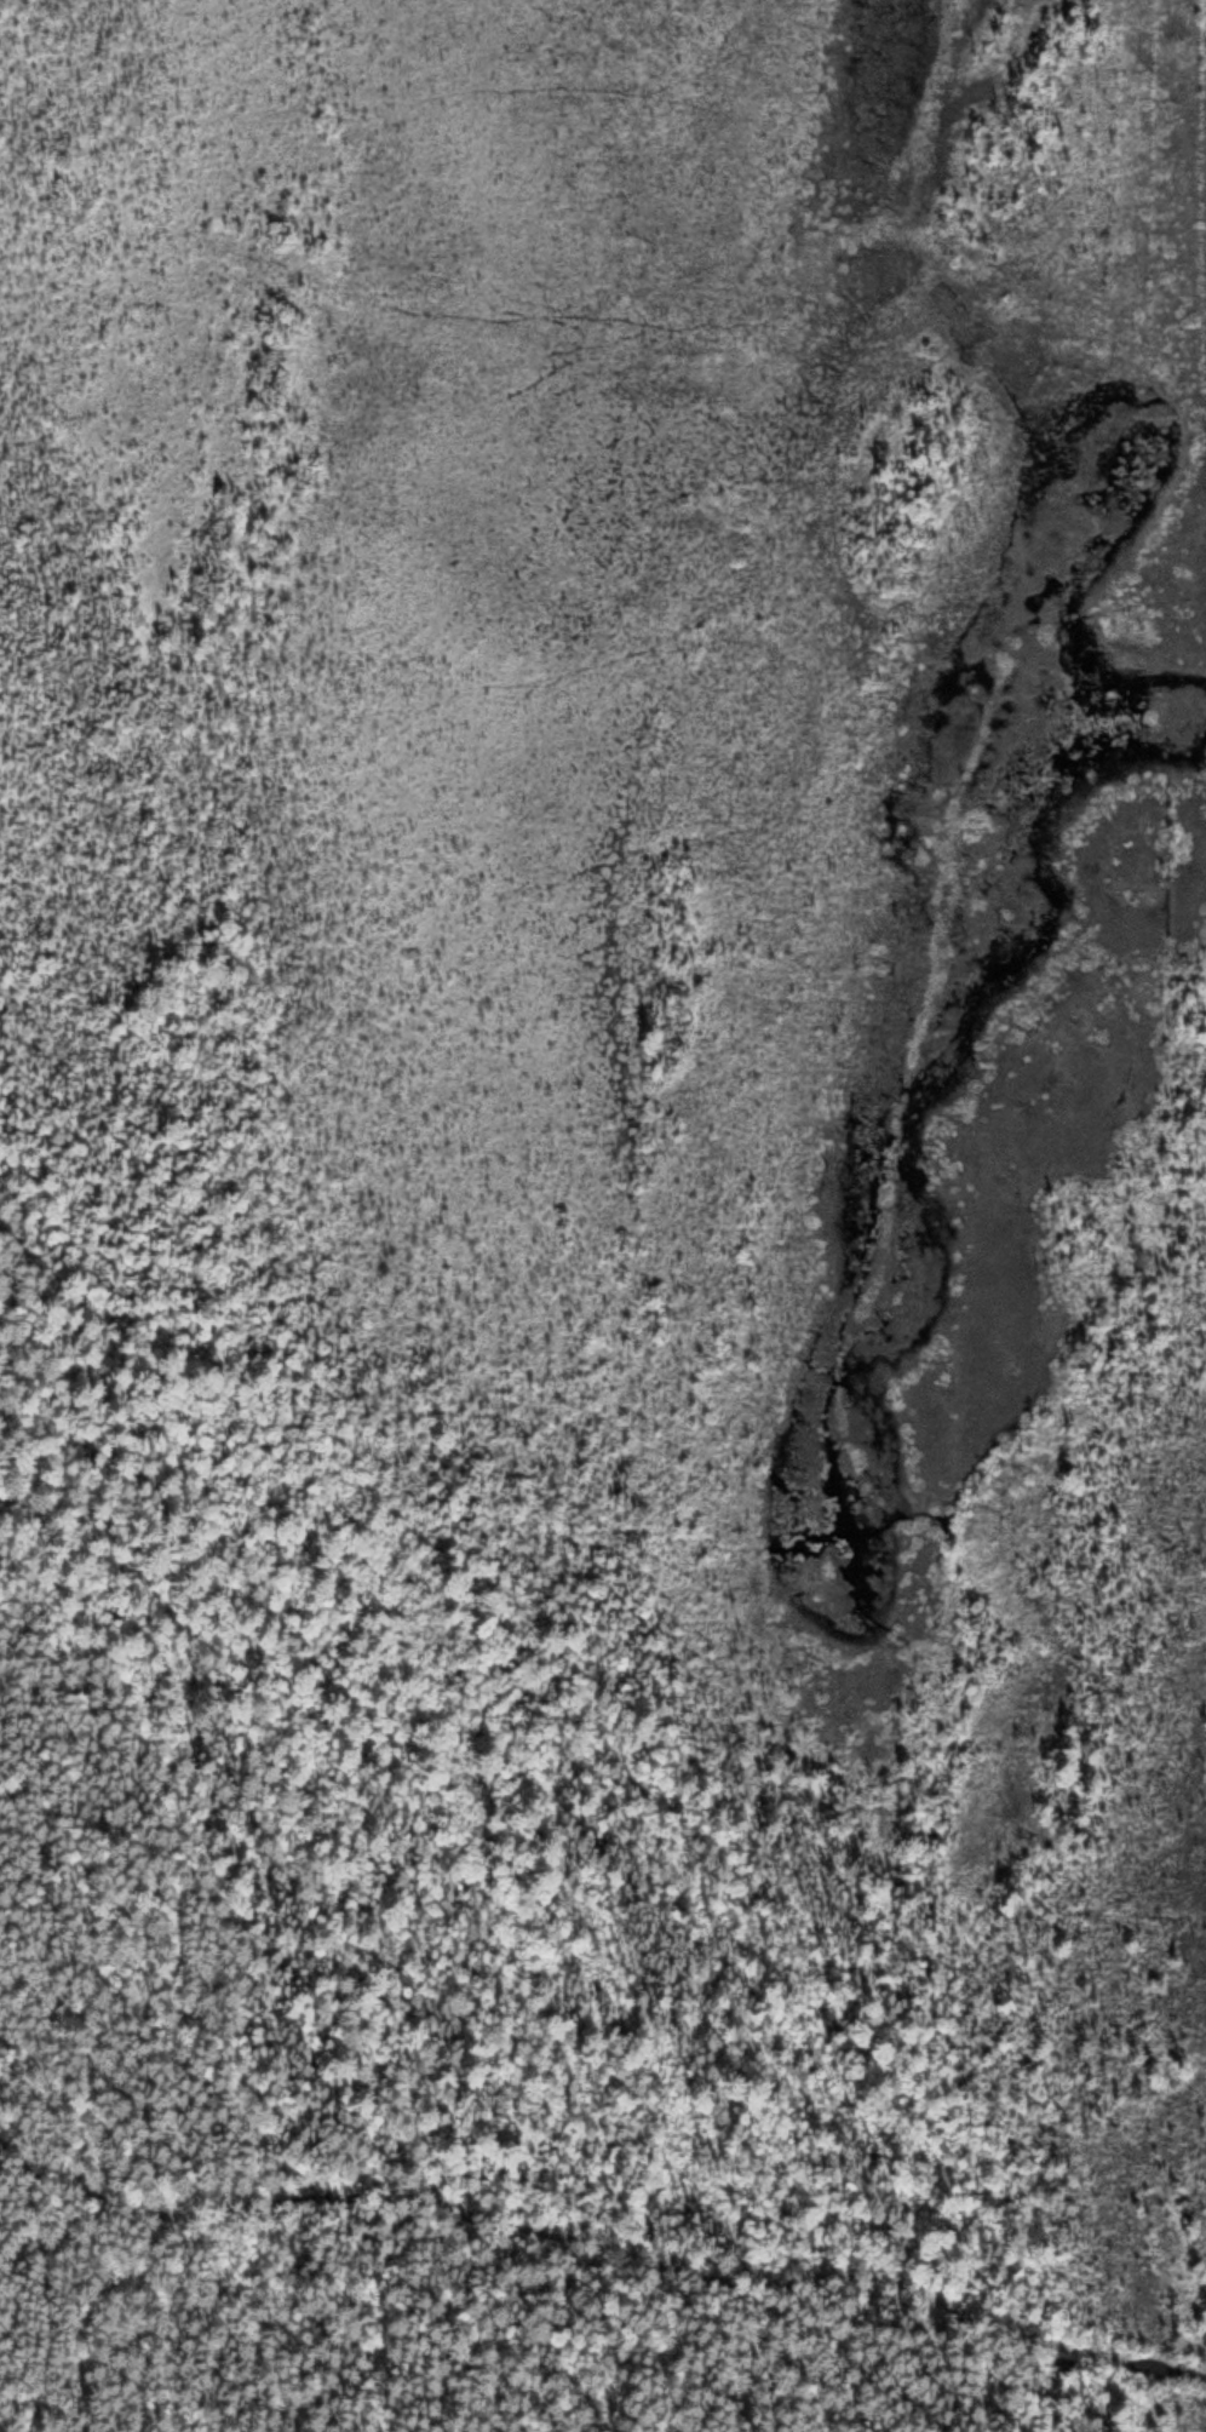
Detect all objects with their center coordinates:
road: (592, 2252)

